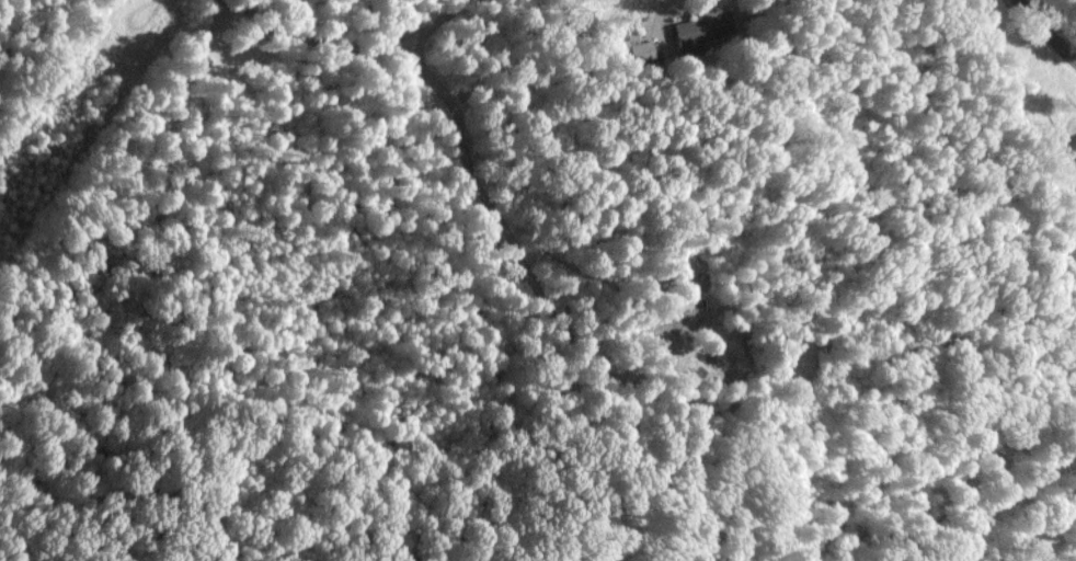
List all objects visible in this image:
building: (701, 26)
road: (1049, 28)
building: (631, 48)
building: (1075, 141)
road: (1074, 559)

